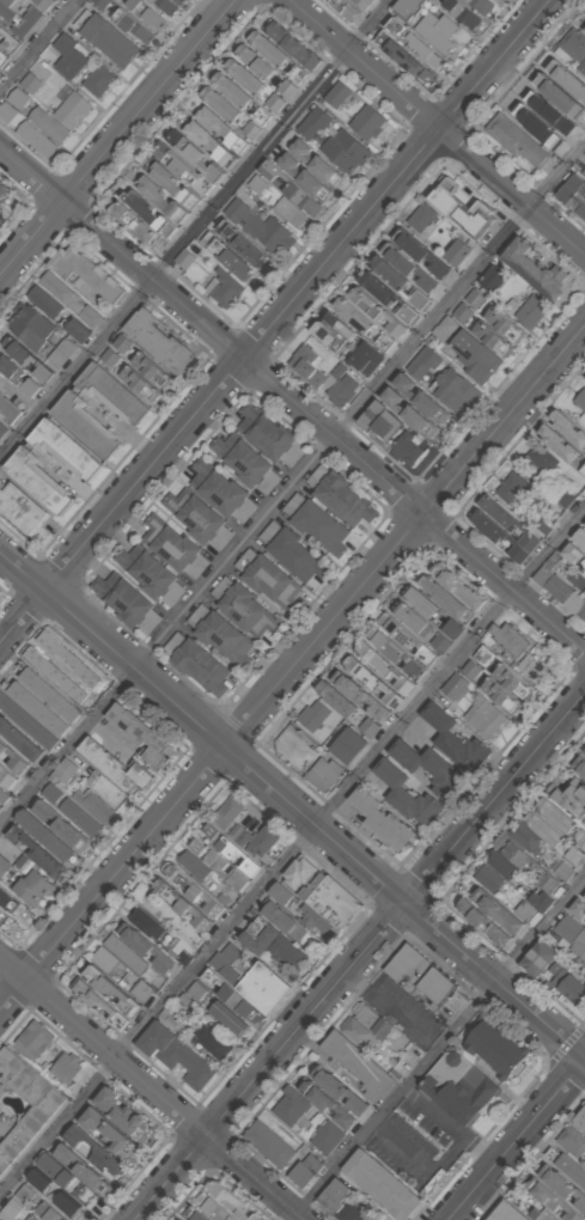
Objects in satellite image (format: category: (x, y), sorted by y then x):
building: (44, 4)
building: (362, 4)
building: (167, 6)
building: (479, 6)
building: (408, 8)
building: (345, 10)
building: (22, 12)
building: (147, 12)
building: (458, 13)
building: (124, 20)
building: (14, 23)
building: (584, 30)
building: (437, 31)
building: (104, 37)
building: (8, 43)
building: (572, 44)
building: (414, 45)
road: (39, 47)
building: (269, 47)
building: (292, 47)
building: (248, 54)
building: (67, 57)
building: (2, 59)
building: (403, 59)
building: (581, 67)
building: (264, 68)
building: (299, 73)
building: (245, 75)
building: (97, 81)
building: (31, 83)
building: (287, 87)
building: (232, 89)
building: (337, 94)
building: (18, 97)
building: (221, 103)
building: (269, 109)
building: (73, 110)
building: (7, 111)
building: (316, 121)
building: (368, 122)
building: (49, 124)
road: (434, 128)
building: (221, 129)
building: (251, 129)
building: (37, 138)
road: (116, 139)
building: (513, 141)
building: (208, 144)
building: (347, 150)
building: (194, 157)
building: (315, 165)
building: (182, 170)
building: (304, 178)
building: (257, 183)
building: (173, 187)
building: (291, 189)
building: (2, 190)
building: (573, 195)
building: (162, 201)
building: (463, 208)
building: (1, 209)
building: (293, 213)
building: (150, 215)
building: (421, 218)
building: (132, 225)
building: (260, 226)
road: (195, 230)
building: (239, 244)
building: (419, 254)
building: (456, 254)
building: (225, 256)
building: (185, 258)
building: (409, 268)
building: (534, 272)
building: (85, 273)
building: (489, 280)
building: (400, 283)
building: (225, 287)
building: (71, 298)
building: (475, 298)
building: (389, 299)
building: (43, 301)
building: (530, 311)
building: (463, 312)
building: (374, 313)
road: (274, 322)
building: (364, 324)
building: (506, 325)
building: (30, 327)
building: (445, 328)
building: (75, 330)
building: (333, 334)
building: (494, 338)
building: (156, 343)
building: (116, 349)
building: (61, 353)
building: (475, 356)
building: (25, 360)
building: (365, 360)
building: (423, 360)
building: (306, 366)
building: (154, 370)
building: (18, 377)
building: (144, 384)
building: (455, 389)
building: (110, 392)
building: (419, 399)
building: (580, 399)
road: (292, 402)
building: (6, 411)
building: (407, 414)
building: (378, 423)
building: (81, 427)
building: (568, 427)
building: (1, 431)
building: (263, 432)
road: (133, 438)
building: (557, 443)
building: (62, 450)
building: (406, 450)
building: (543, 458)
building: (240, 459)
building: (583, 470)
building: (33, 482)
road: (292, 484)
building: (513, 486)
building: (215, 487)
building: (337, 495)
building: (565, 498)
building: (20, 511)
building: (193, 516)
building: (508, 523)
building: (315, 524)
building: (584, 525)
building: (496, 536)
building: (579, 539)
building: (171, 547)
building: (293, 553)
building: (573, 557)
building: (151, 577)
building: (264, 577)
building: (456, 587)
building: (560, 593)
building: (443, 599)
building: (421, 602)
building: (124, 604)
building: (243, 609)
building: (412, 616)
building: (453, 628)
building: (220, 635)
building: (403, 638)
building: (512, 639)
building: (394, 653)
building: (66, 659)
building: (477, 661)
building: (195, 664)
road: (293, 669)
building: (384, 669)
building: (535, 670)
building: (54, 675)
building: (371, 682)
building: (453, 685)
building: (510, 689)
building: (48, 696)
building: (362, 696)
building: (337, 697)
building: (37, 709)
building: (315, 718)
building: (483, 718)
building: (26, 721)
building: (370, 726)
building: (141, 738)
building: (18, 740)
building: (456, 740)
building: (346, 746)
building: (11, 761)
building: (580, 763)
building: (427, 767)
building: (116, 769)
building: (66, 770)
building: (322, 774)
building: (5, 779)
building: (54, 793)
building: (404, 795)
building: (2, 797)
building: (571, 801)
road: (292, 803)
building: (96, 805)
building: (47, 812)
building: (227, 812)
building: (556, 815)
building: (80, 816)
building: (380, 822)
building: (544, 828)
building: (72, 832)
building: (48, 838)
building: (580, 842)
building: (227, 849)
road: (292, 850)
building: (39, 854)
building: (24, 862)
building: (526, 864)
building: (217, 865)
building: (4, 867)
building: (563, 871)
building: (297, 872)
building: (31, 887)
building: (193, 892)
building: (279, 895)
building: (178, 904)
building: (333, 904)
building: (578, 910)
building: (13, 913)
building: (495, 913)
building: (276, 917)
building: (312, 920)
building: (481, 923)
building: (572, 937)
building: (269, 943)
building: (144, 946)
building: (124, 954)
building: (105, 958)
road: (358, 958)
building: (538, 962)
building: (408, 969)
building: (249, 978)
building: (110, 990)
building: (433, 992)
building: (572, 992)
building: (230, 996)
building: (98, 1004)
road: (392, 1009)
building: (373, 1023)
building: (359, 1035)
building: (32, 1039)
building: (212, 1041)
building: (496, 1048)
road: (438, 1049)
building: (173, 1056)
building: (358, 1067)
building: (63, 1068)
building: (459, 1086)
road: (151, 1090)
building: (339, 1092)
building: (325, 1104)
building: (288, 1106)
building: (22, 1108)
building: (126, 1117)
building: (579, 1120)
road: (450, 1128)
building: (111, 1137)
building: (325, 1137)
road: (517, 1141)
building: (569, 1142)
building: (267, 1145)
building: (92, 1152)
road: (420, 1159)
building: (565, 1166)
building: (80, 1170)
building: (55, 1171)
building: (300, 1176)
building: (39, 1181)
building: (378, 1184)
building: (562, 1188)
building: (331, 1196)
building: (548, 1197)
building: (68, 1203)
building: (231, 1203)
building: (11, 1209)
building: (213, 1210)
building: (48, 1212)
building: (351, 1213)
building: (504, 1213)
building: (543, 1215)
building: (195, 1216)
building: (33, 1218)
building: (179, 1219)

